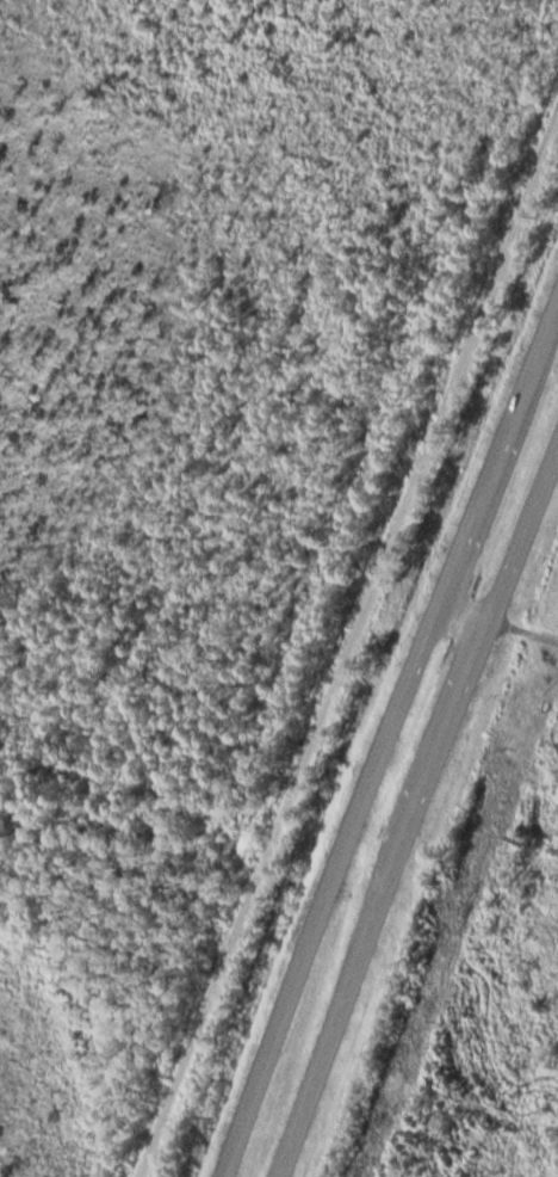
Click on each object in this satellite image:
road: (503, 627)
road: (348, 649)
road: (348, 649)
road: (393, 751)
road: (423, 818)

